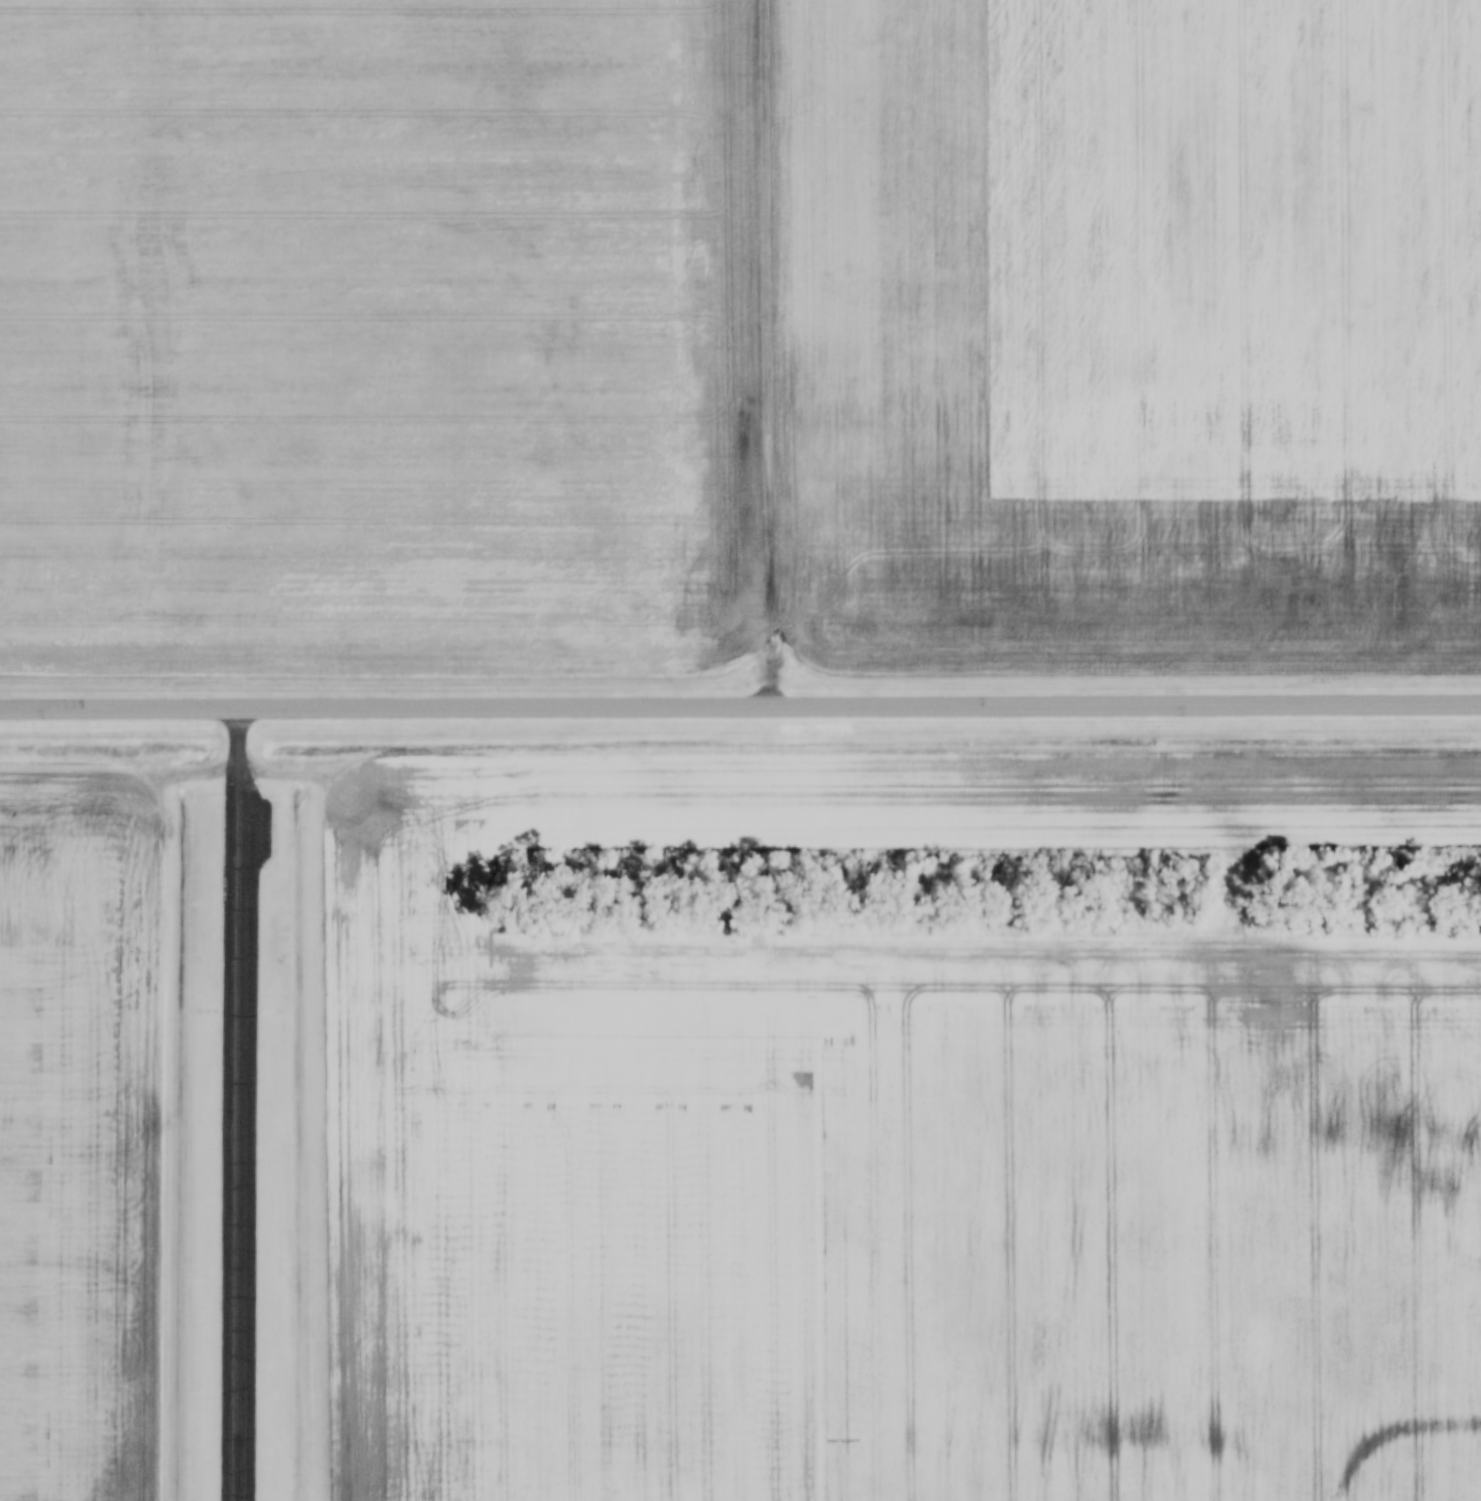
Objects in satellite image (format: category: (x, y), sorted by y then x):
road: (740, 708)
road: (237, 745)
airport runway: (235, 1139)

